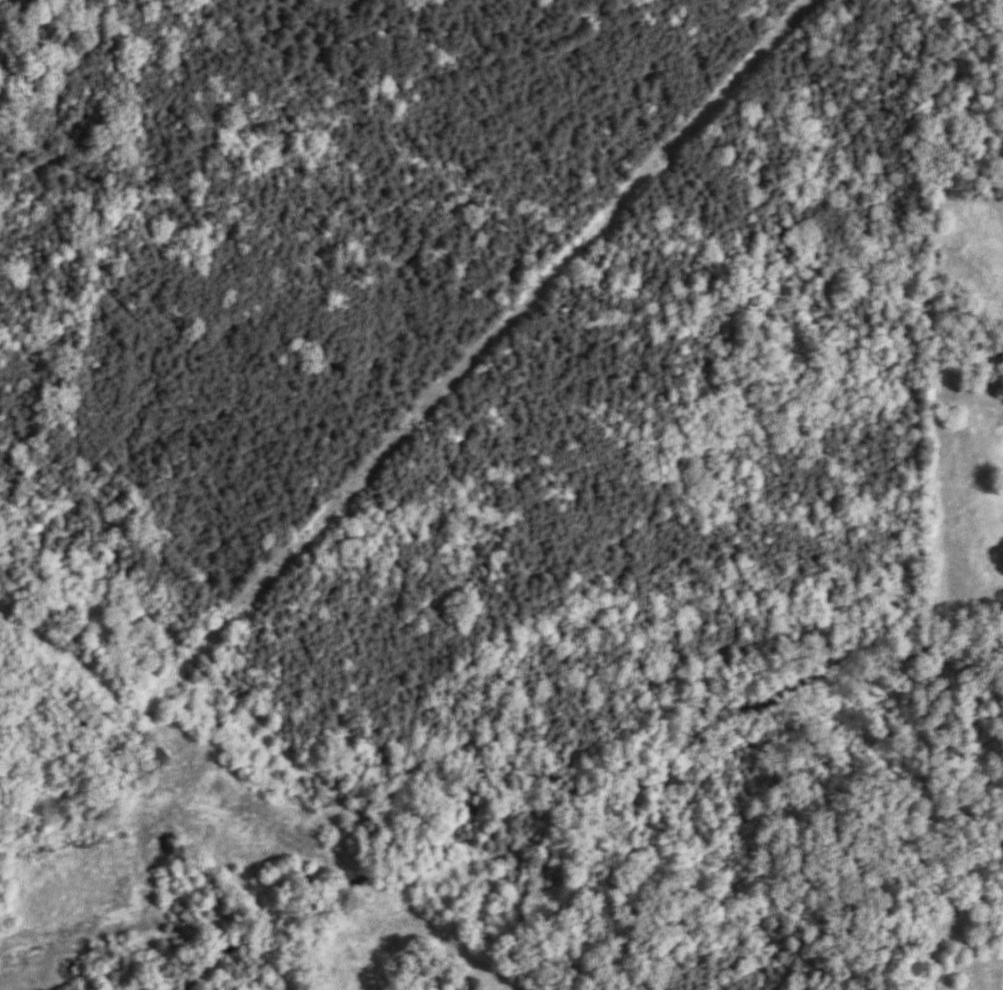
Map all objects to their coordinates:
road: (200, 891)

